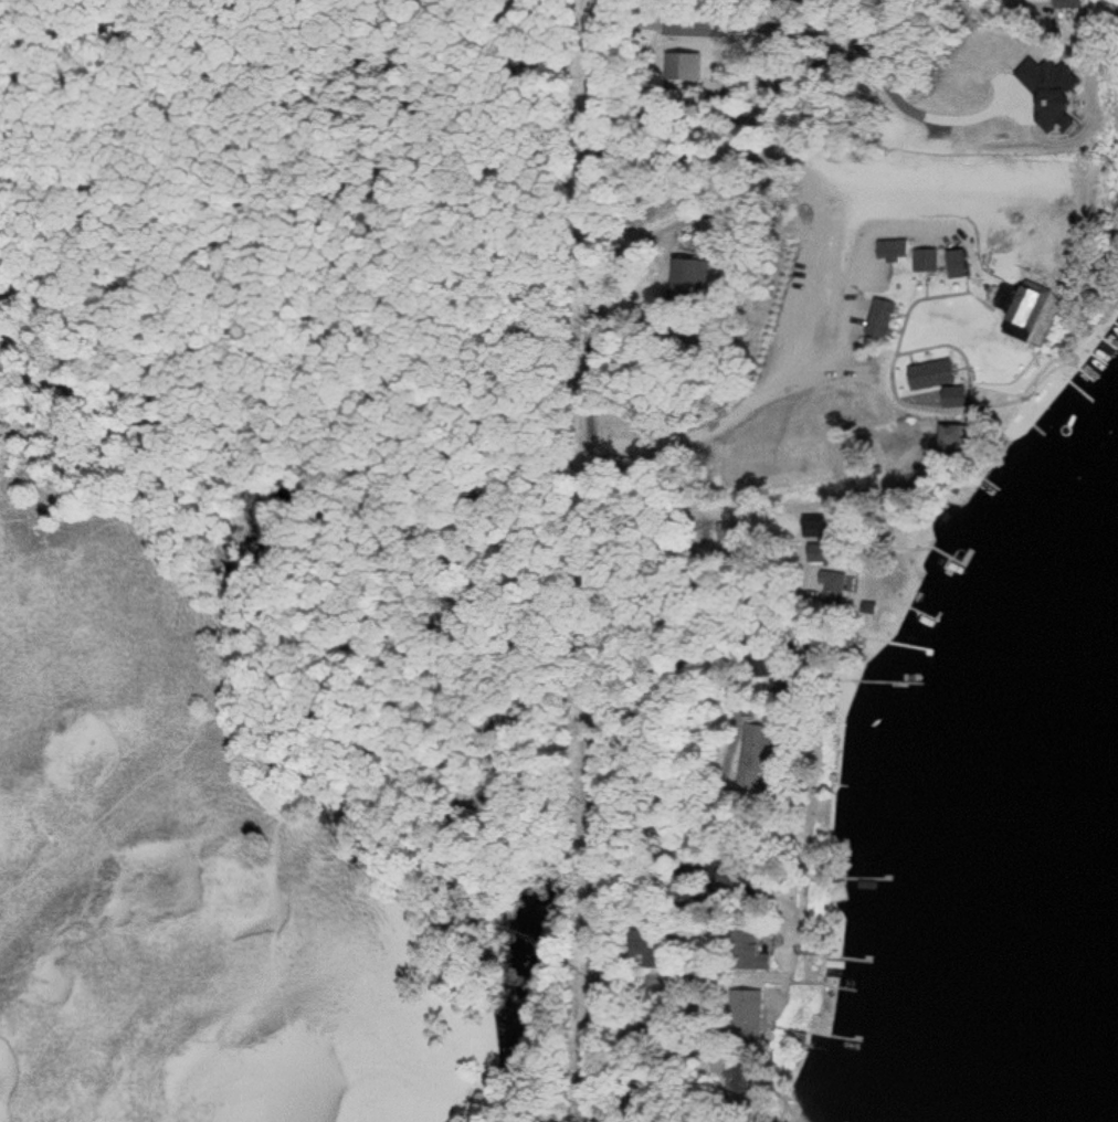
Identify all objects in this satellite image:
building: (1094, 3)
road: (892, 106)
building: (930, 261)
building: (1021, 298)
building: (831, 557)
park: (285, 559)
road: (598, 561)
road: (707, 617)
building: (759, 948)
building: (650, 949)
building: (757, 1012)

